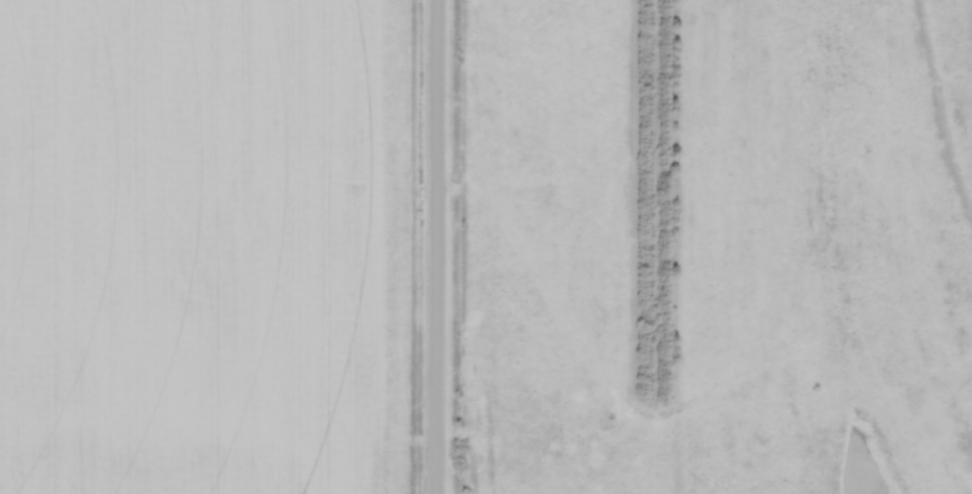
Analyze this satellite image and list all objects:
road: (435, 247)

